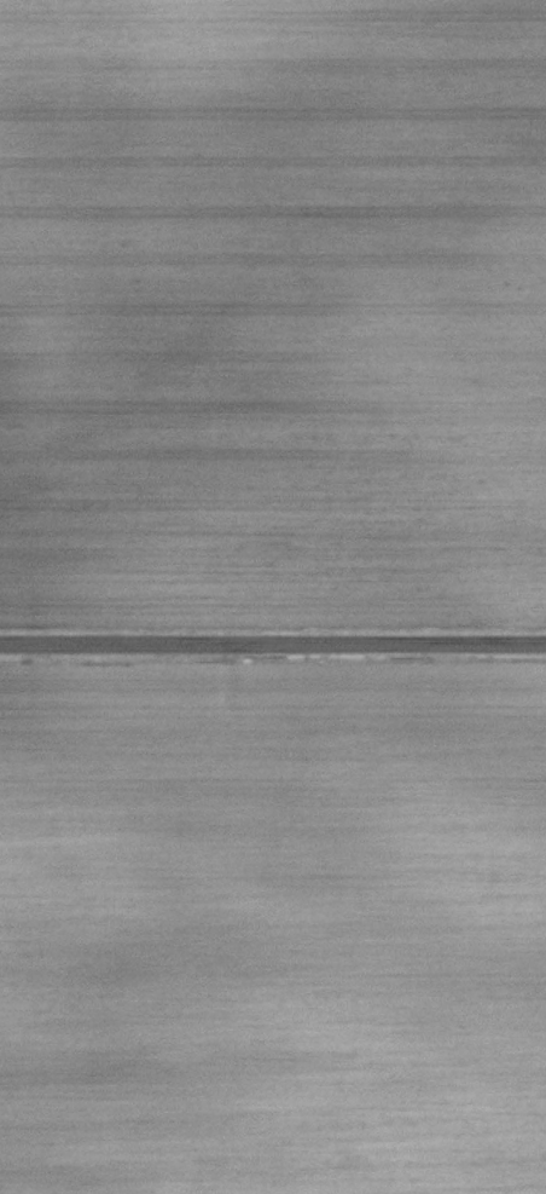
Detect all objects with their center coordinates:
road: (273, 639)

